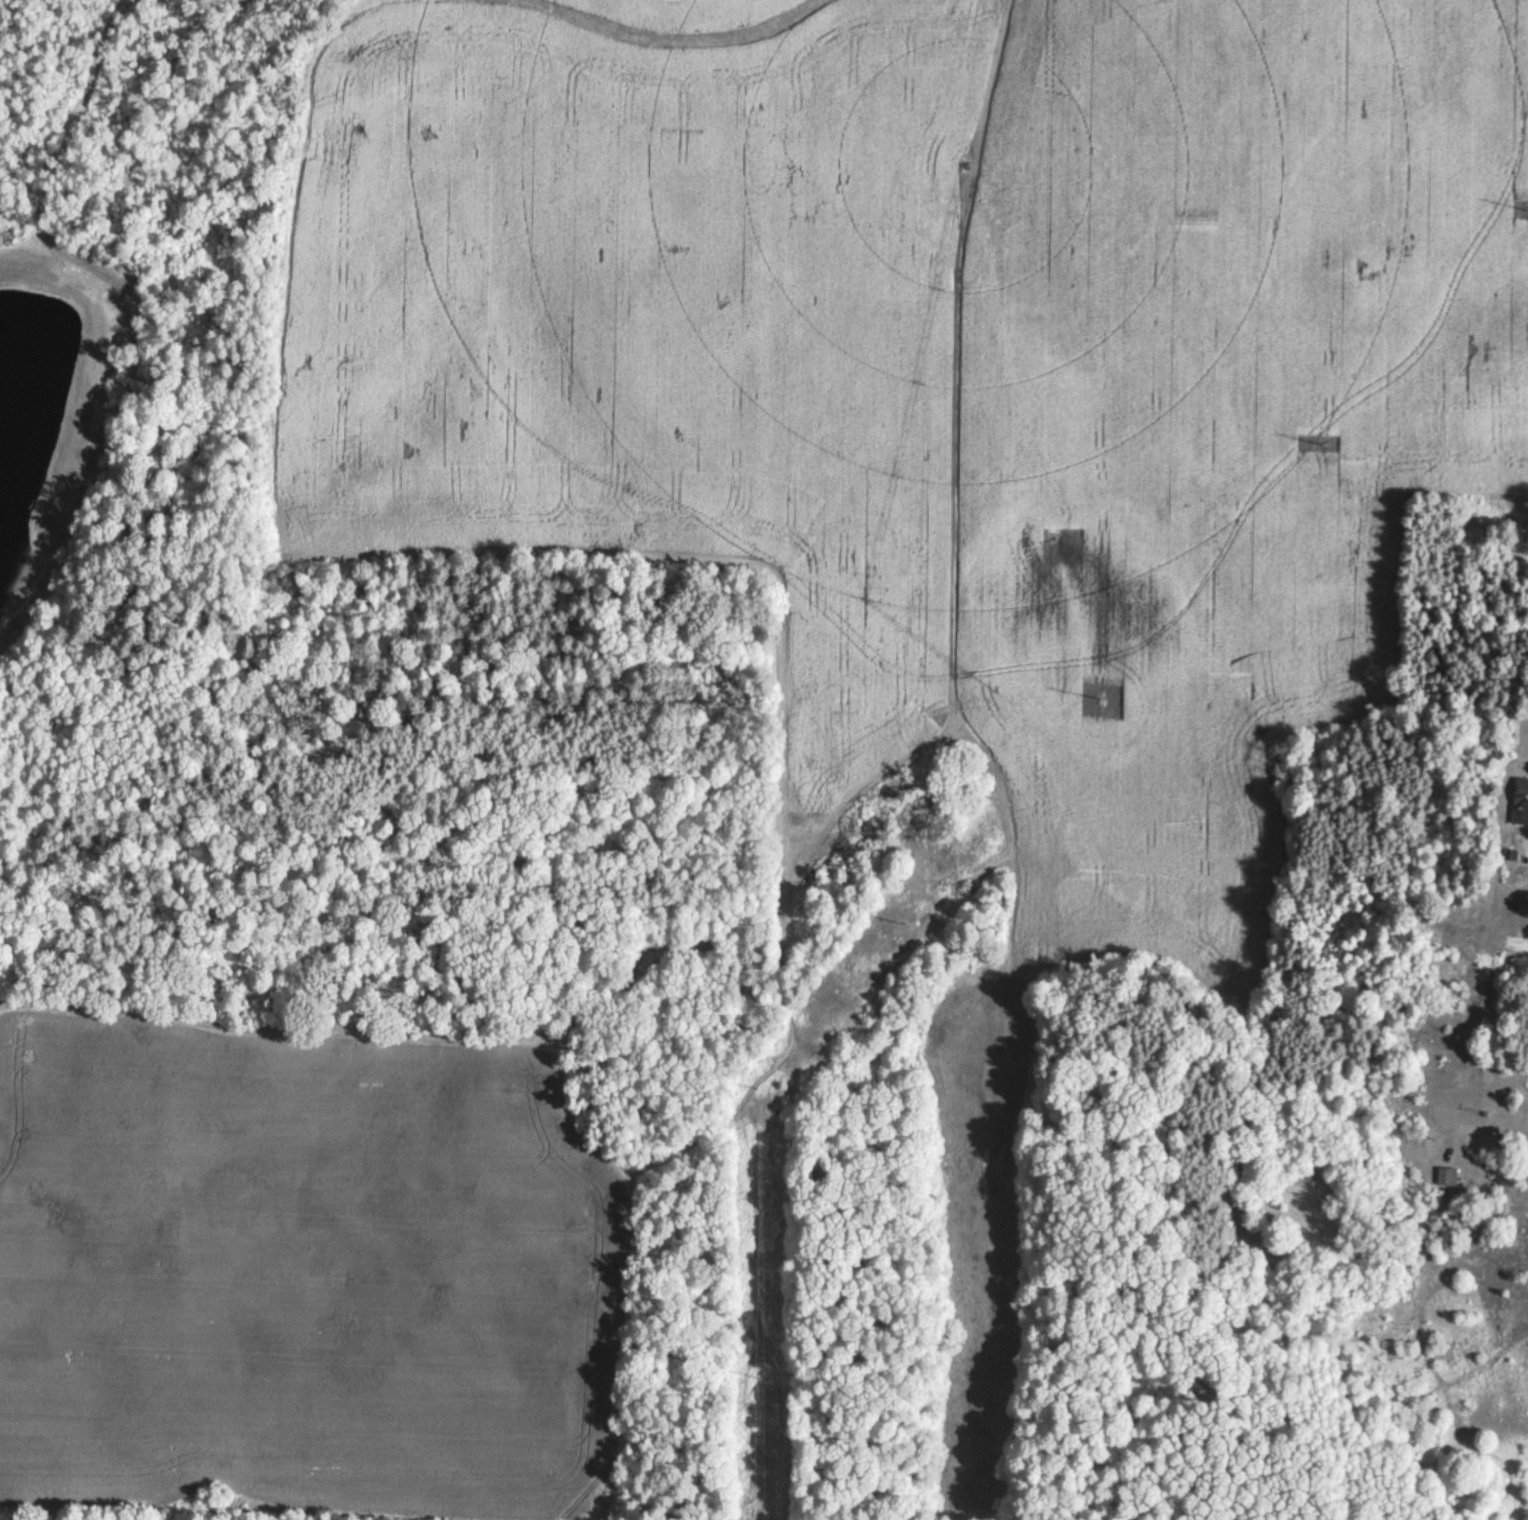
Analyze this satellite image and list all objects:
building: (1519, 803)
building: (1445, 1178)

